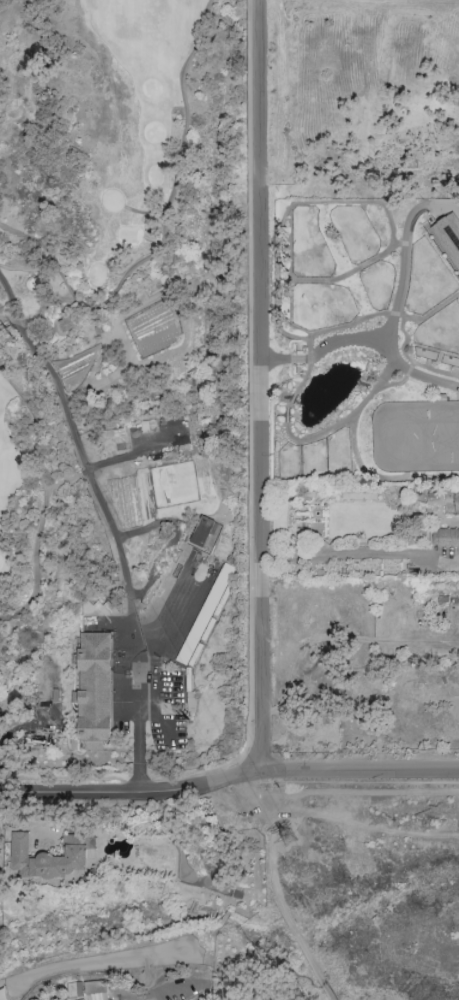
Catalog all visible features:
building: (448, 235)
road: (403, 253)
building: (67, 323)
road: (370, 339)
road: (264, 386)
road: (139, 452)
road: (83, 455)
road: (66, 479)
road: (45, 496)
building: (456, 501)
building: (203, 530)
building: (445, 537)
road: (361, 554)
road: (135, 671)
building: (93, 689)
power tower: (189, 722)
road: (381, 745)
road: (358, 767)
road: (252, 773)
road: (123, 793)
power tower: (287, 837)
building: (48, 857)

